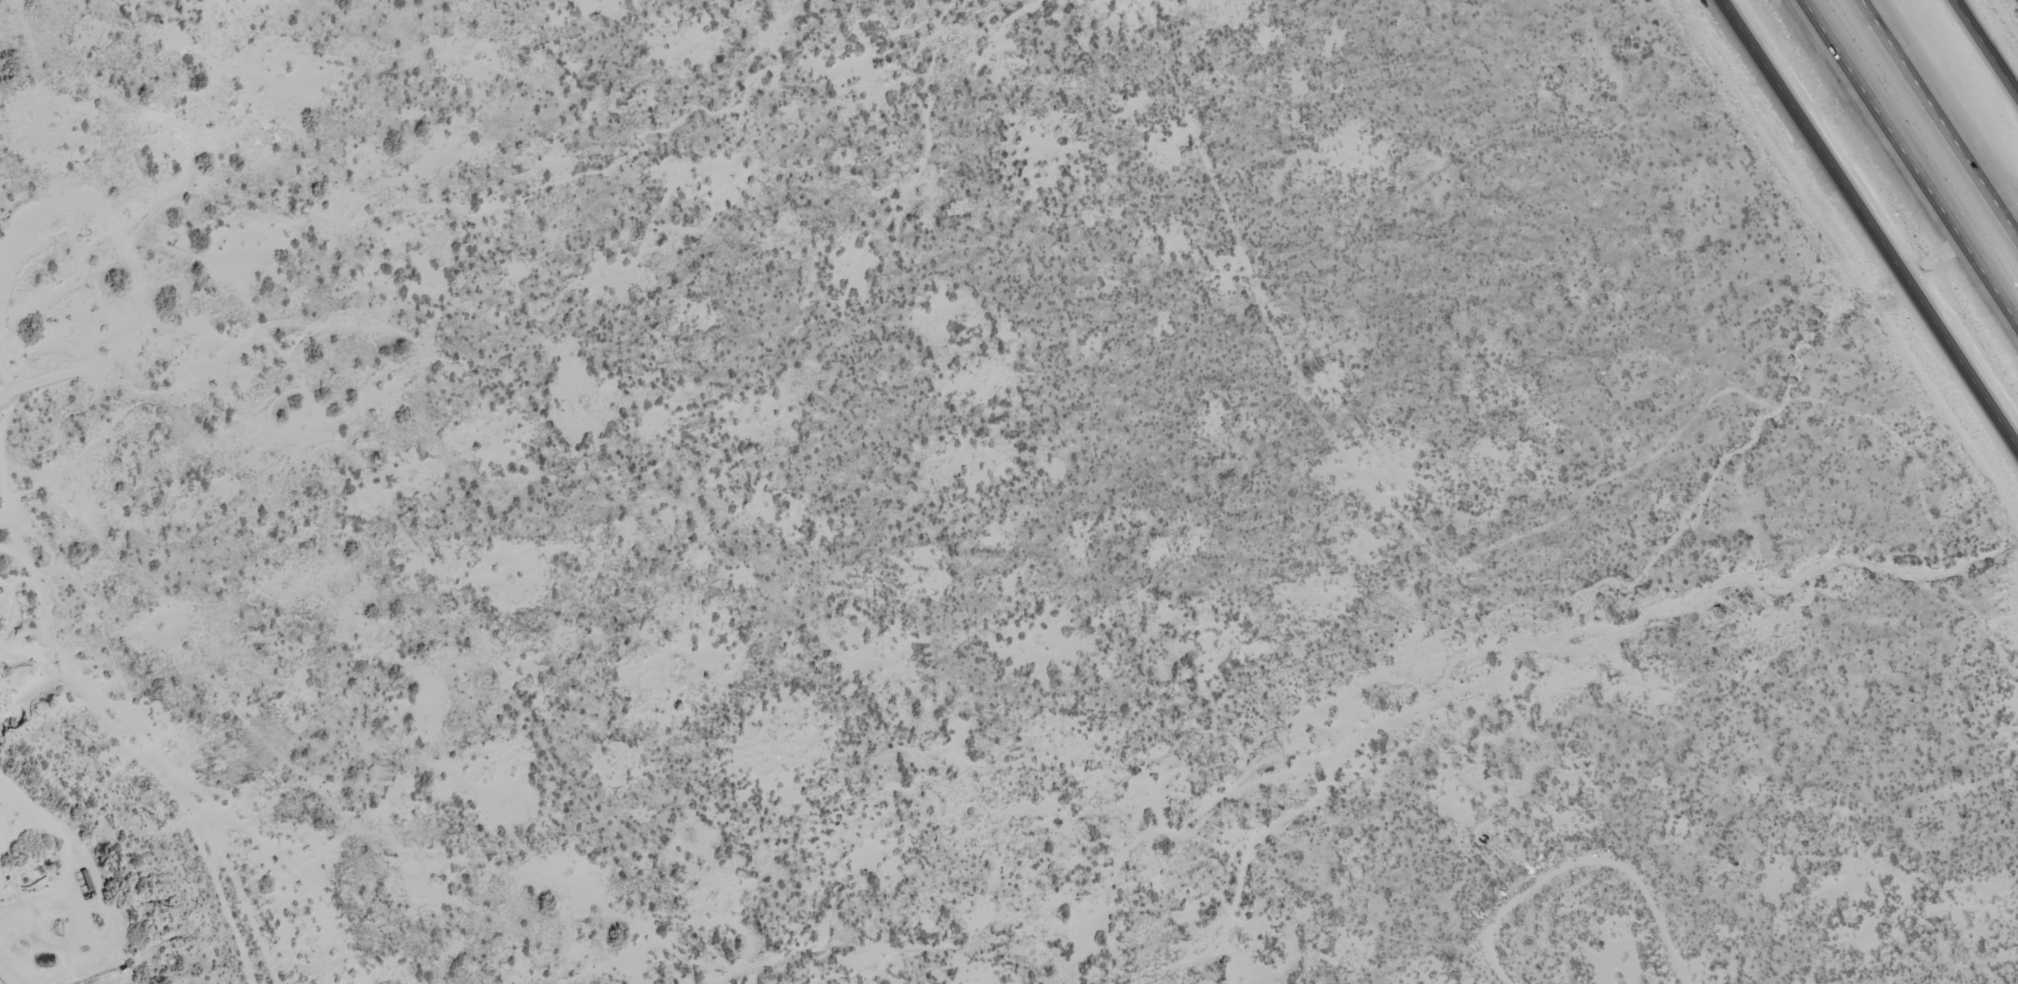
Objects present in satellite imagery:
road: (1987, 46)
road: (1939, 118)
road: (1910, 163)
road: (1870, 223)

